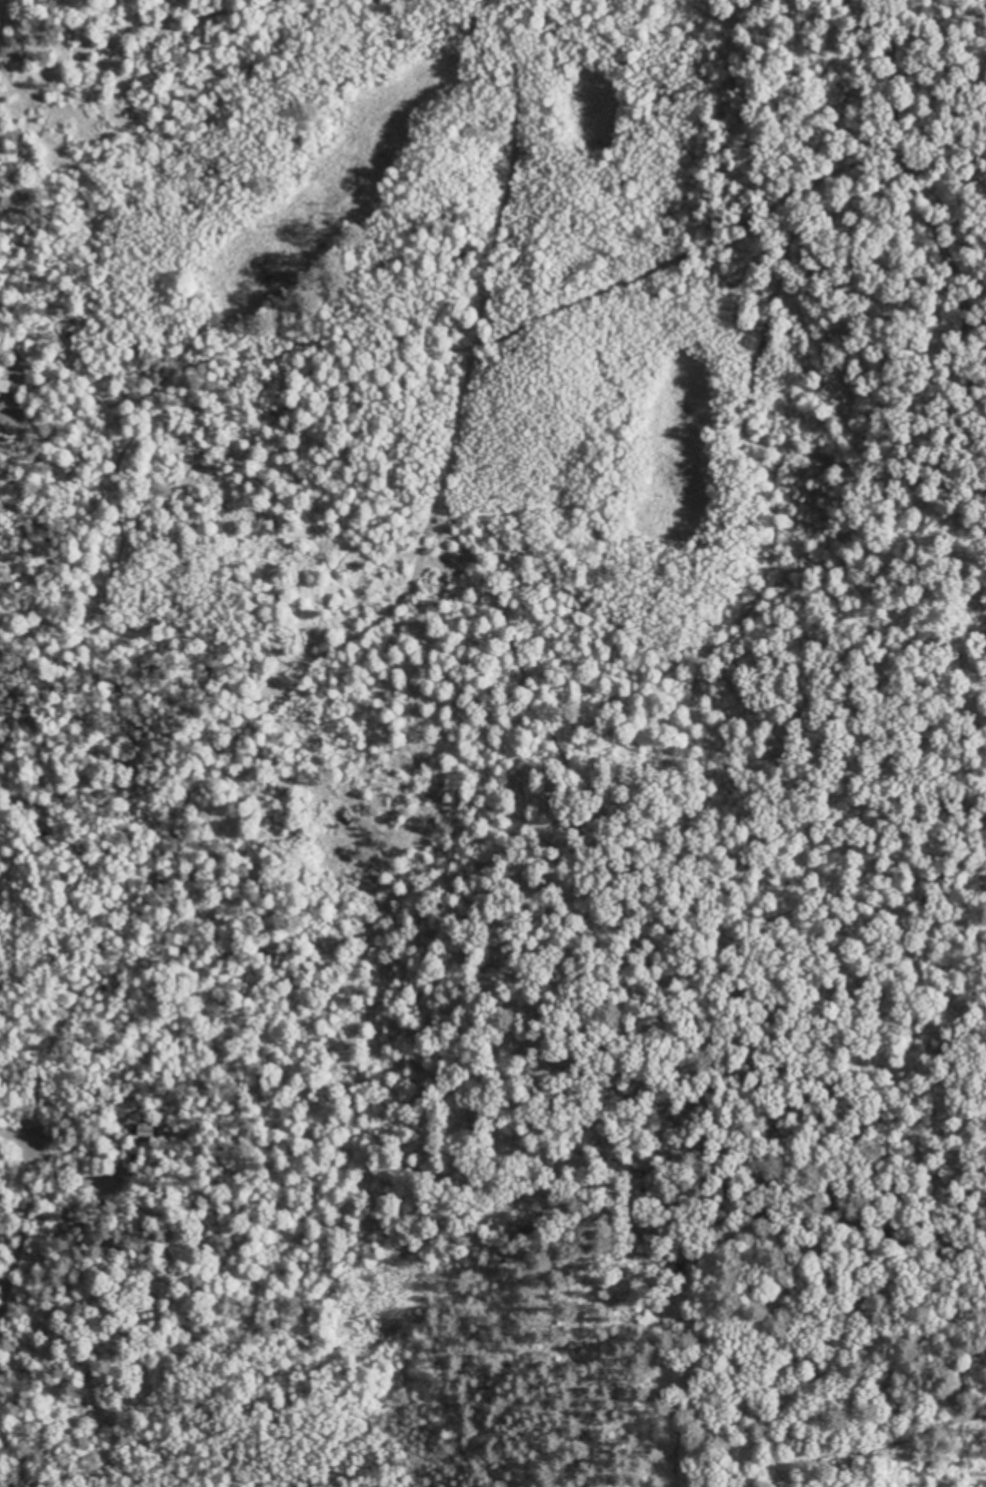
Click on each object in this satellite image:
road: (909, 274)
building: (8, 391)
road: (196, 703)
building: (147, 1128)
road: (20, 1354)

